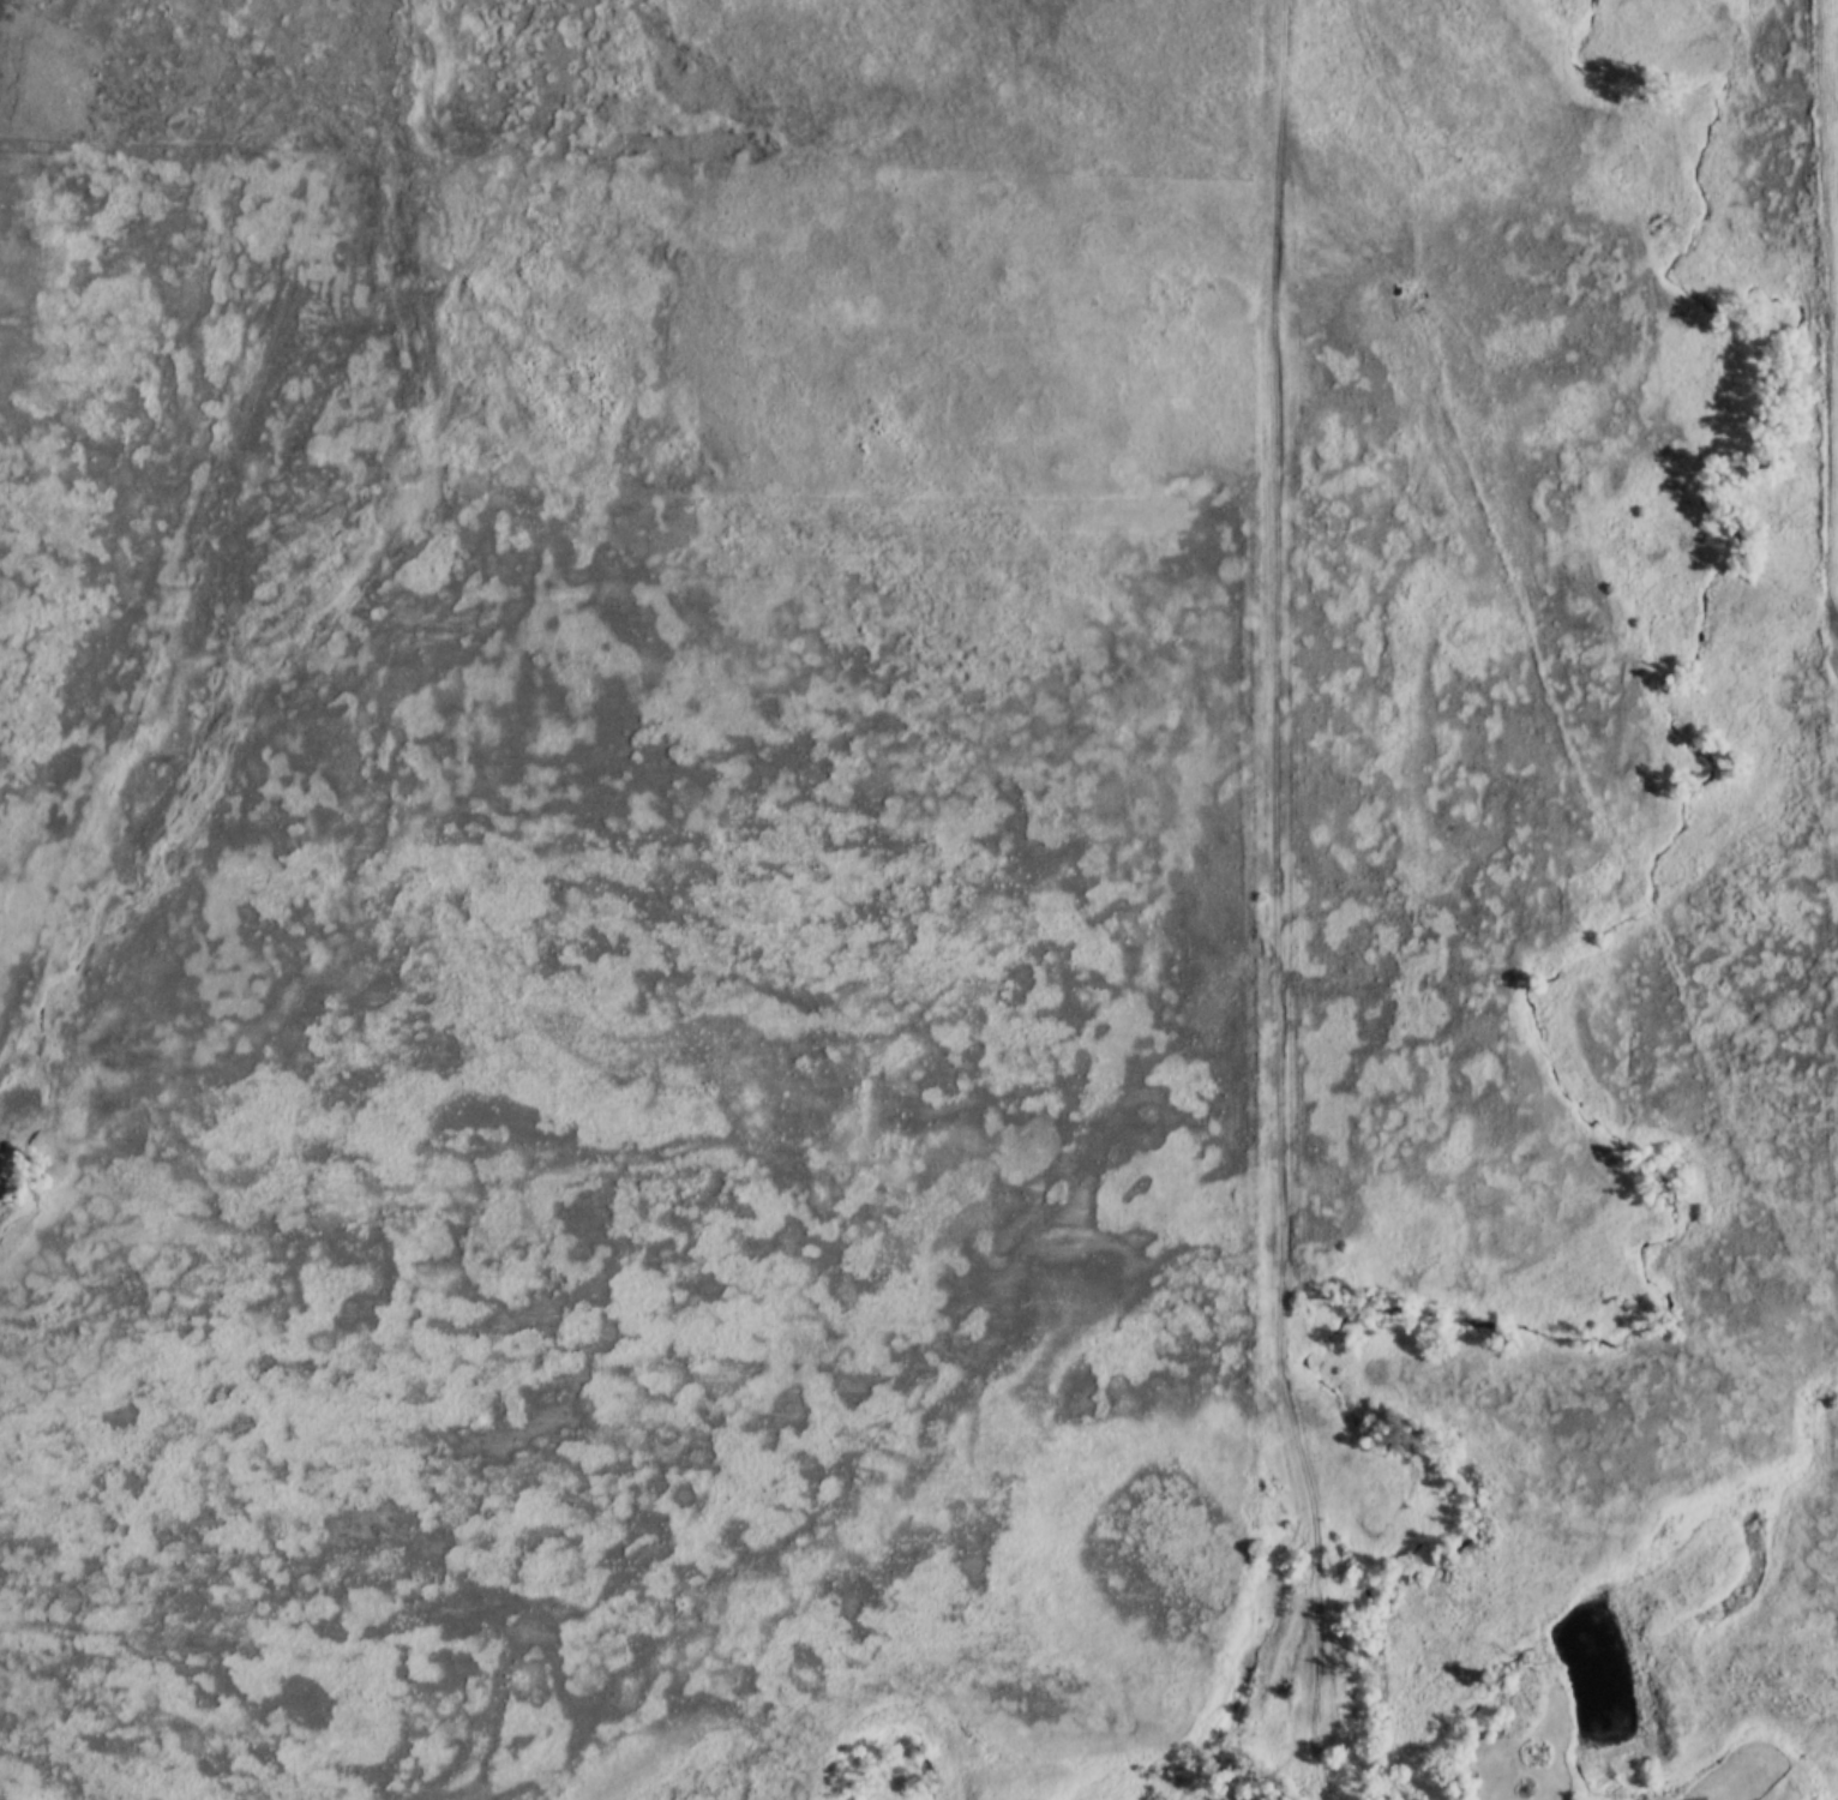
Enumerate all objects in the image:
road: (1280, 996)

